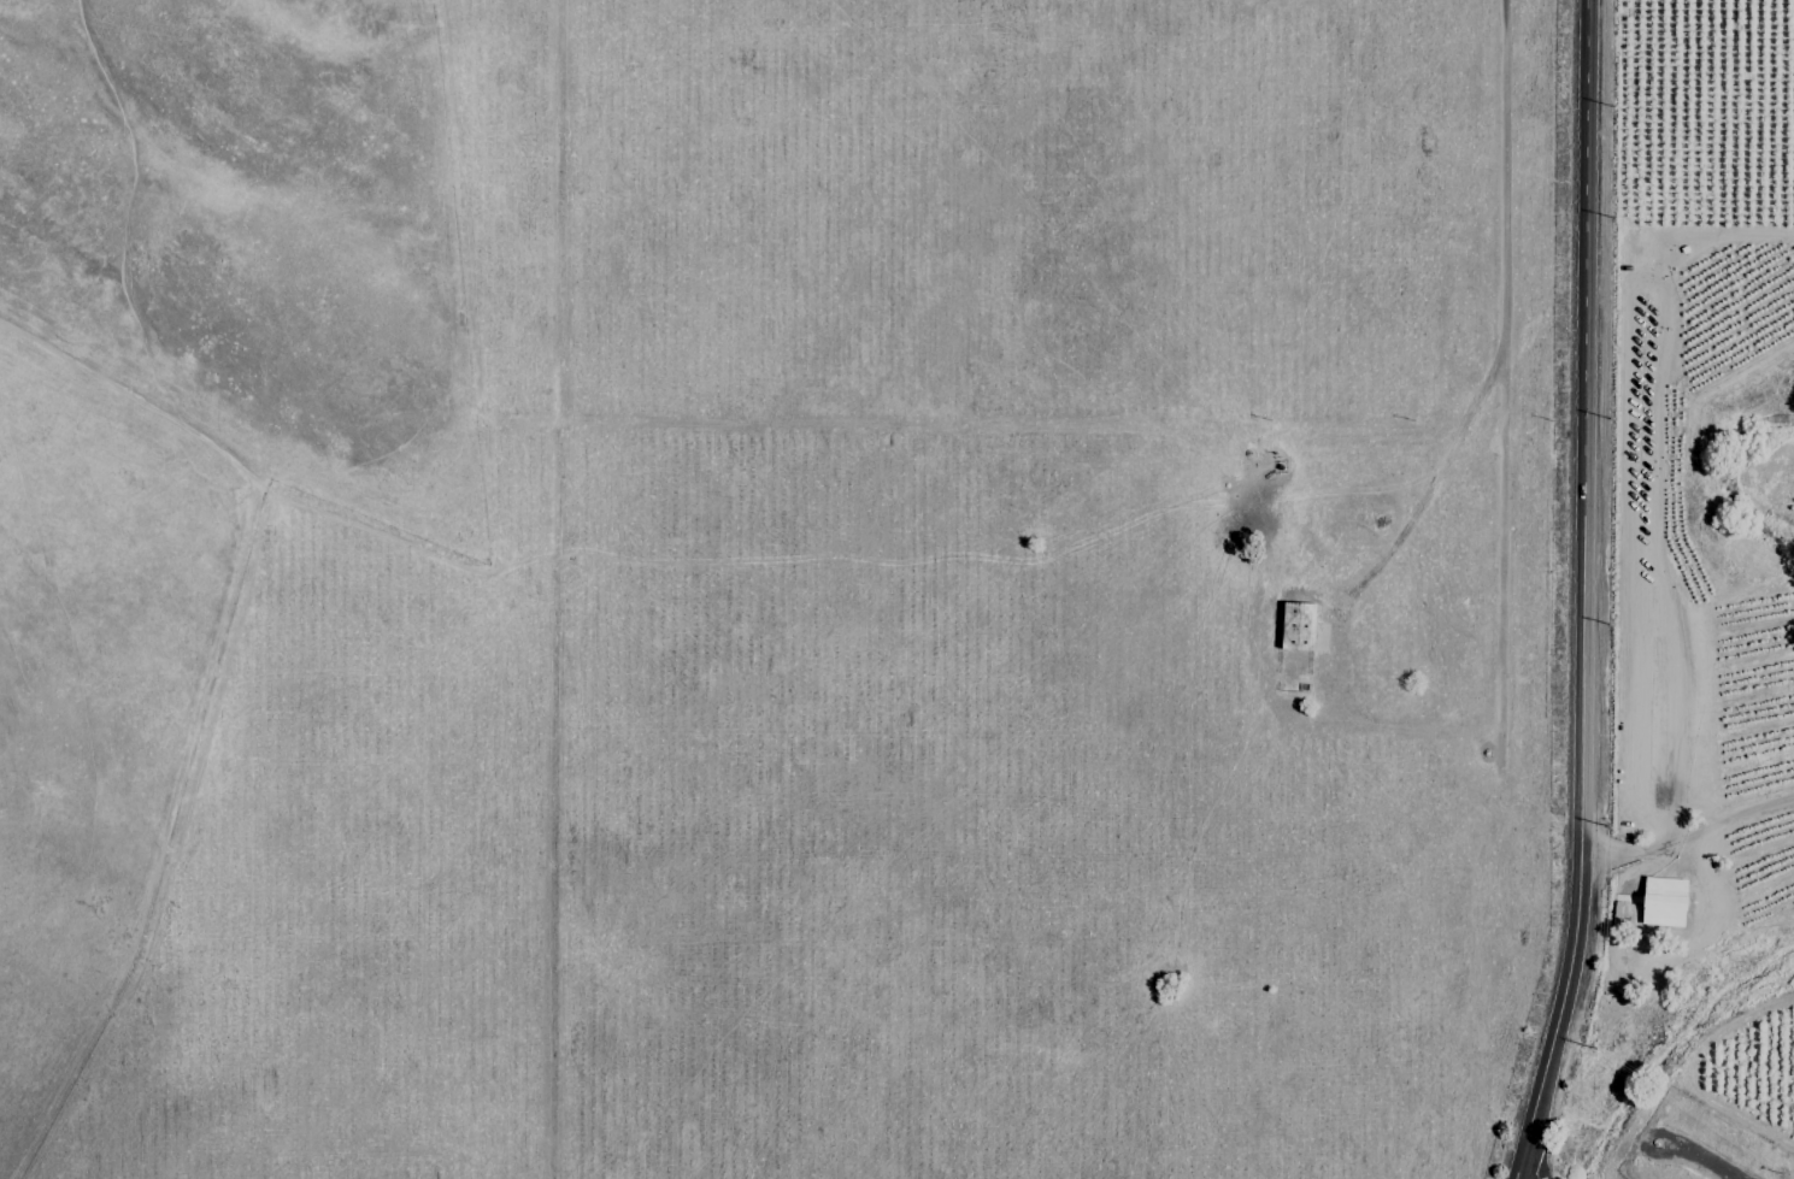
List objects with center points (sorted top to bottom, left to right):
road: (1500, 373)
park: (789, 586)
road: (1586, 594)
crop: (1740, 597)
building: (1296, 626)
road: (201, 696)
road: (1522, 1173)

